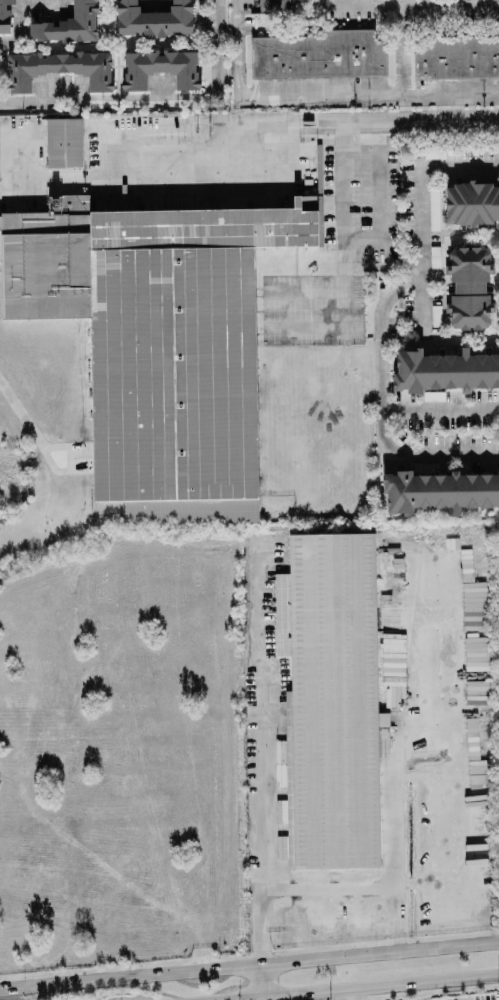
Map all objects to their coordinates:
road: (434, 3)
road: (365, 5)
road: (410, 6)
building: (5, 15)
building: (153, 19)
building: (68, 25)
road: (21, 28)
road: (407, 43)
building: (319, 55)
building: (457, 58)
building: (59, 68)
building: (160, 68)
road: (325, 89)
road: (158, 100)
road: (283, 126)
building: (63, 143)
road: (16, 162)
road: (174, 164)
road: (376, 196)
building: (471, 204)
building: (433, 210)
road: (342, 211)
building: (434, 257)
building: (468, 288)
road: (422, 306)
road: (380, 318)
building: (158, 341)
building: (444, 371)
road: (440, 409)
building: (439, 491)
building: (330, 700)
road: (394, 747)
road: (262, 756)
road: (451, 884)
road: (249, 967)
road: (258, 981)
road: (359, 987)
road: (347, 994)

